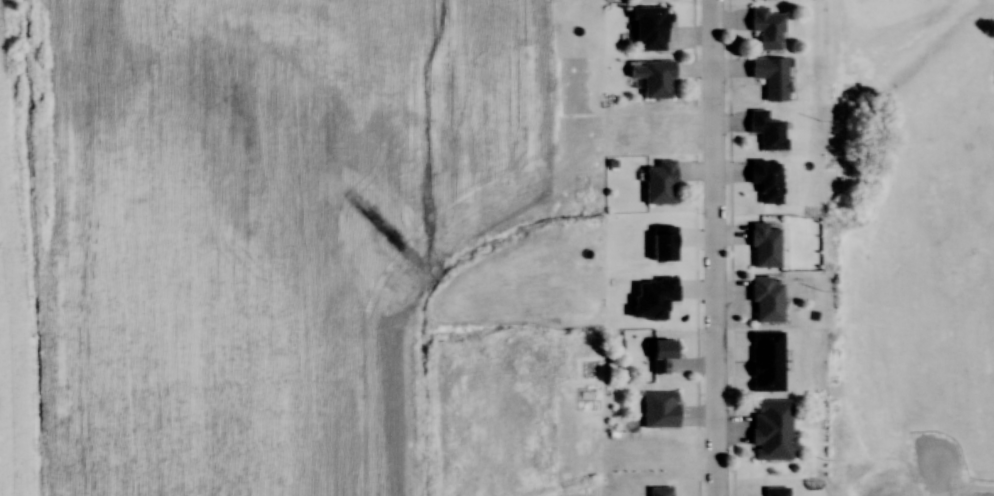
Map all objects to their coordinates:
building: (764, 29)
building: (768, 77)
building: (654, 80)
building: (764, 131)
building: (656, 184)
crop: (264, 226)
building: (762, 246)
park: (908, 246)
road: (713, 248)
building: (763, 300)
building: (659, 356)
building: (657, 407)
building: (769, 430)
building: (657, 491)

